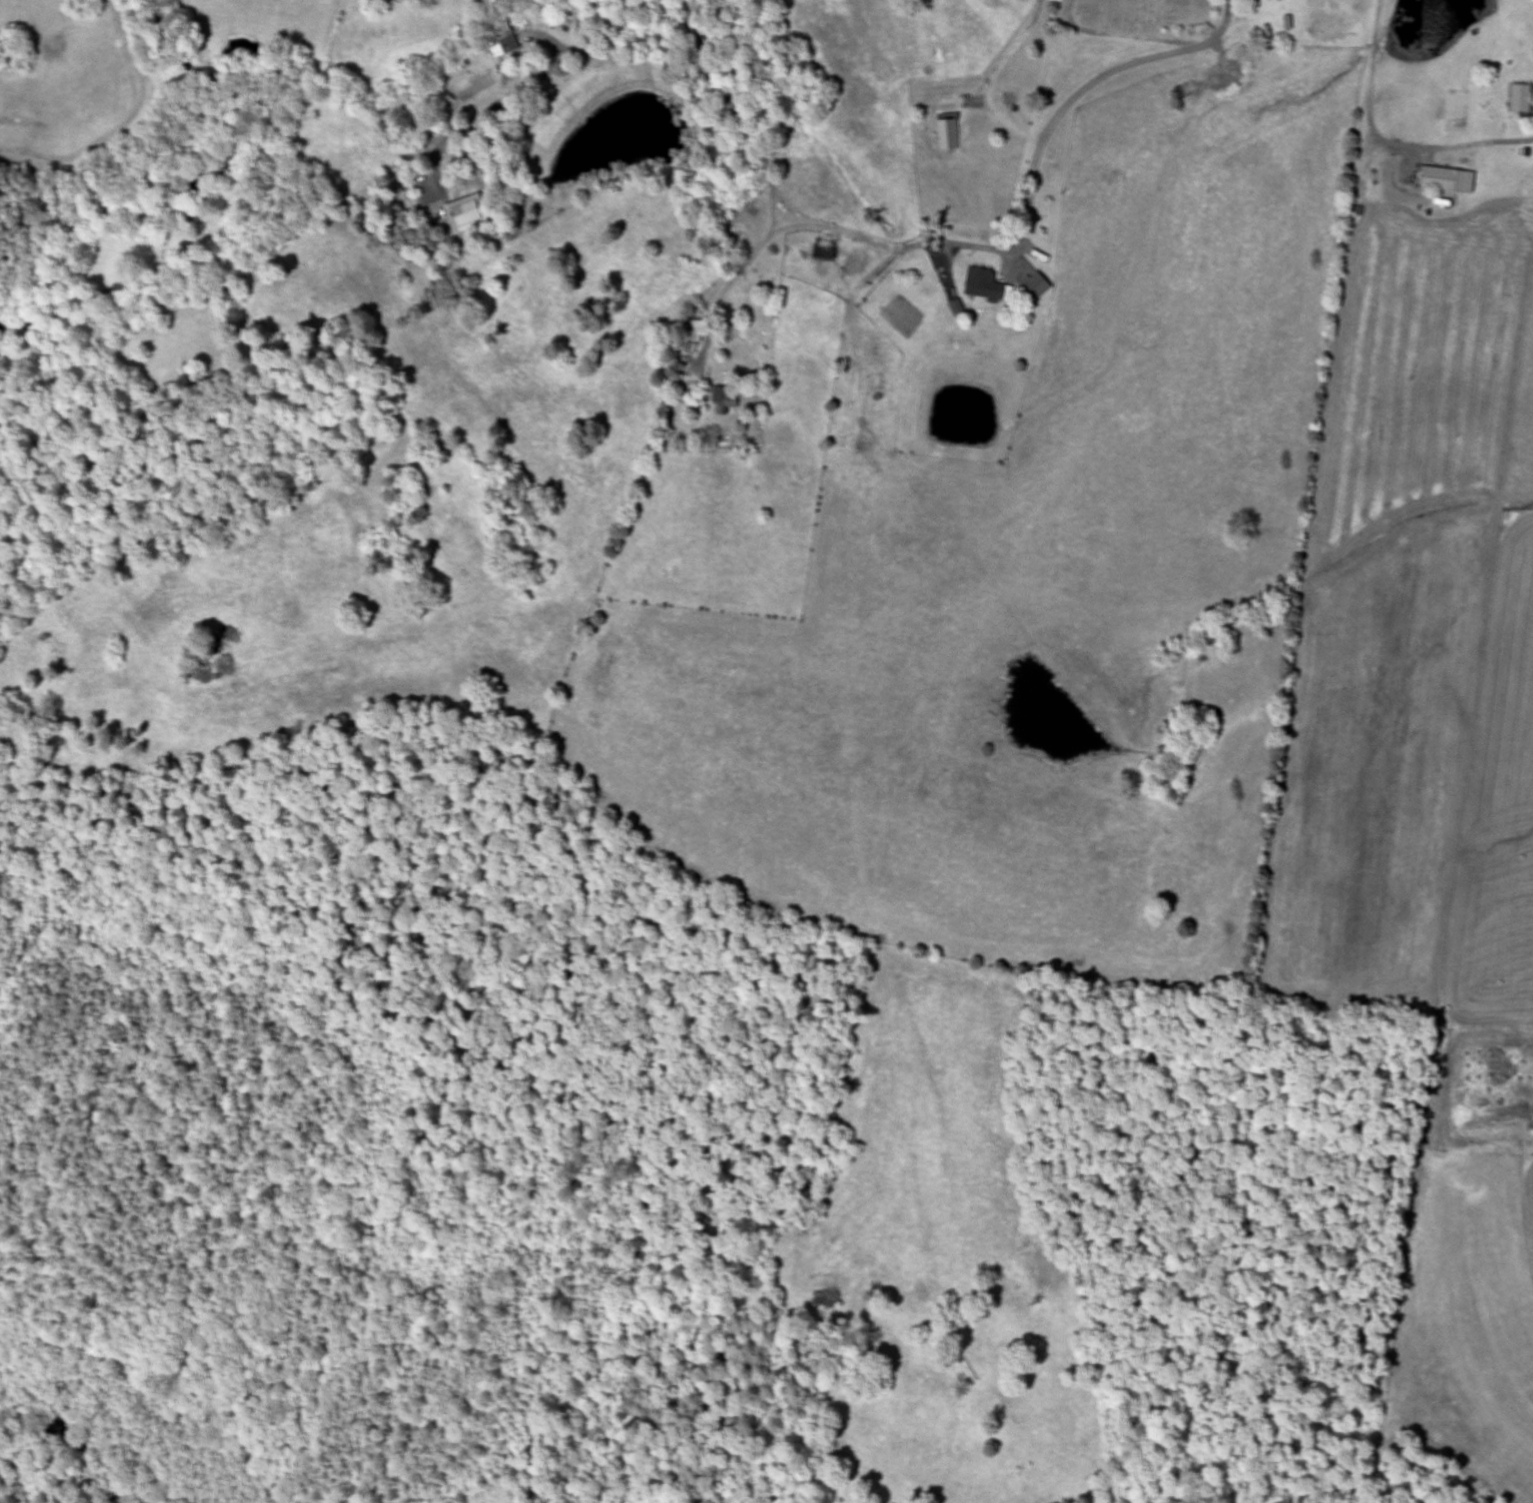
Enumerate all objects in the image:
park: (1142, 18)
building: (501, 43)
road: (535, 80)
road: (1083, 94)
building: (1522, 94)
building: (947, 136)
building: (1447, 176)
building: (465, 215)
building: (986, 286)
building: (1037, 286)
building: (696, 331)
building: (723, 398)

